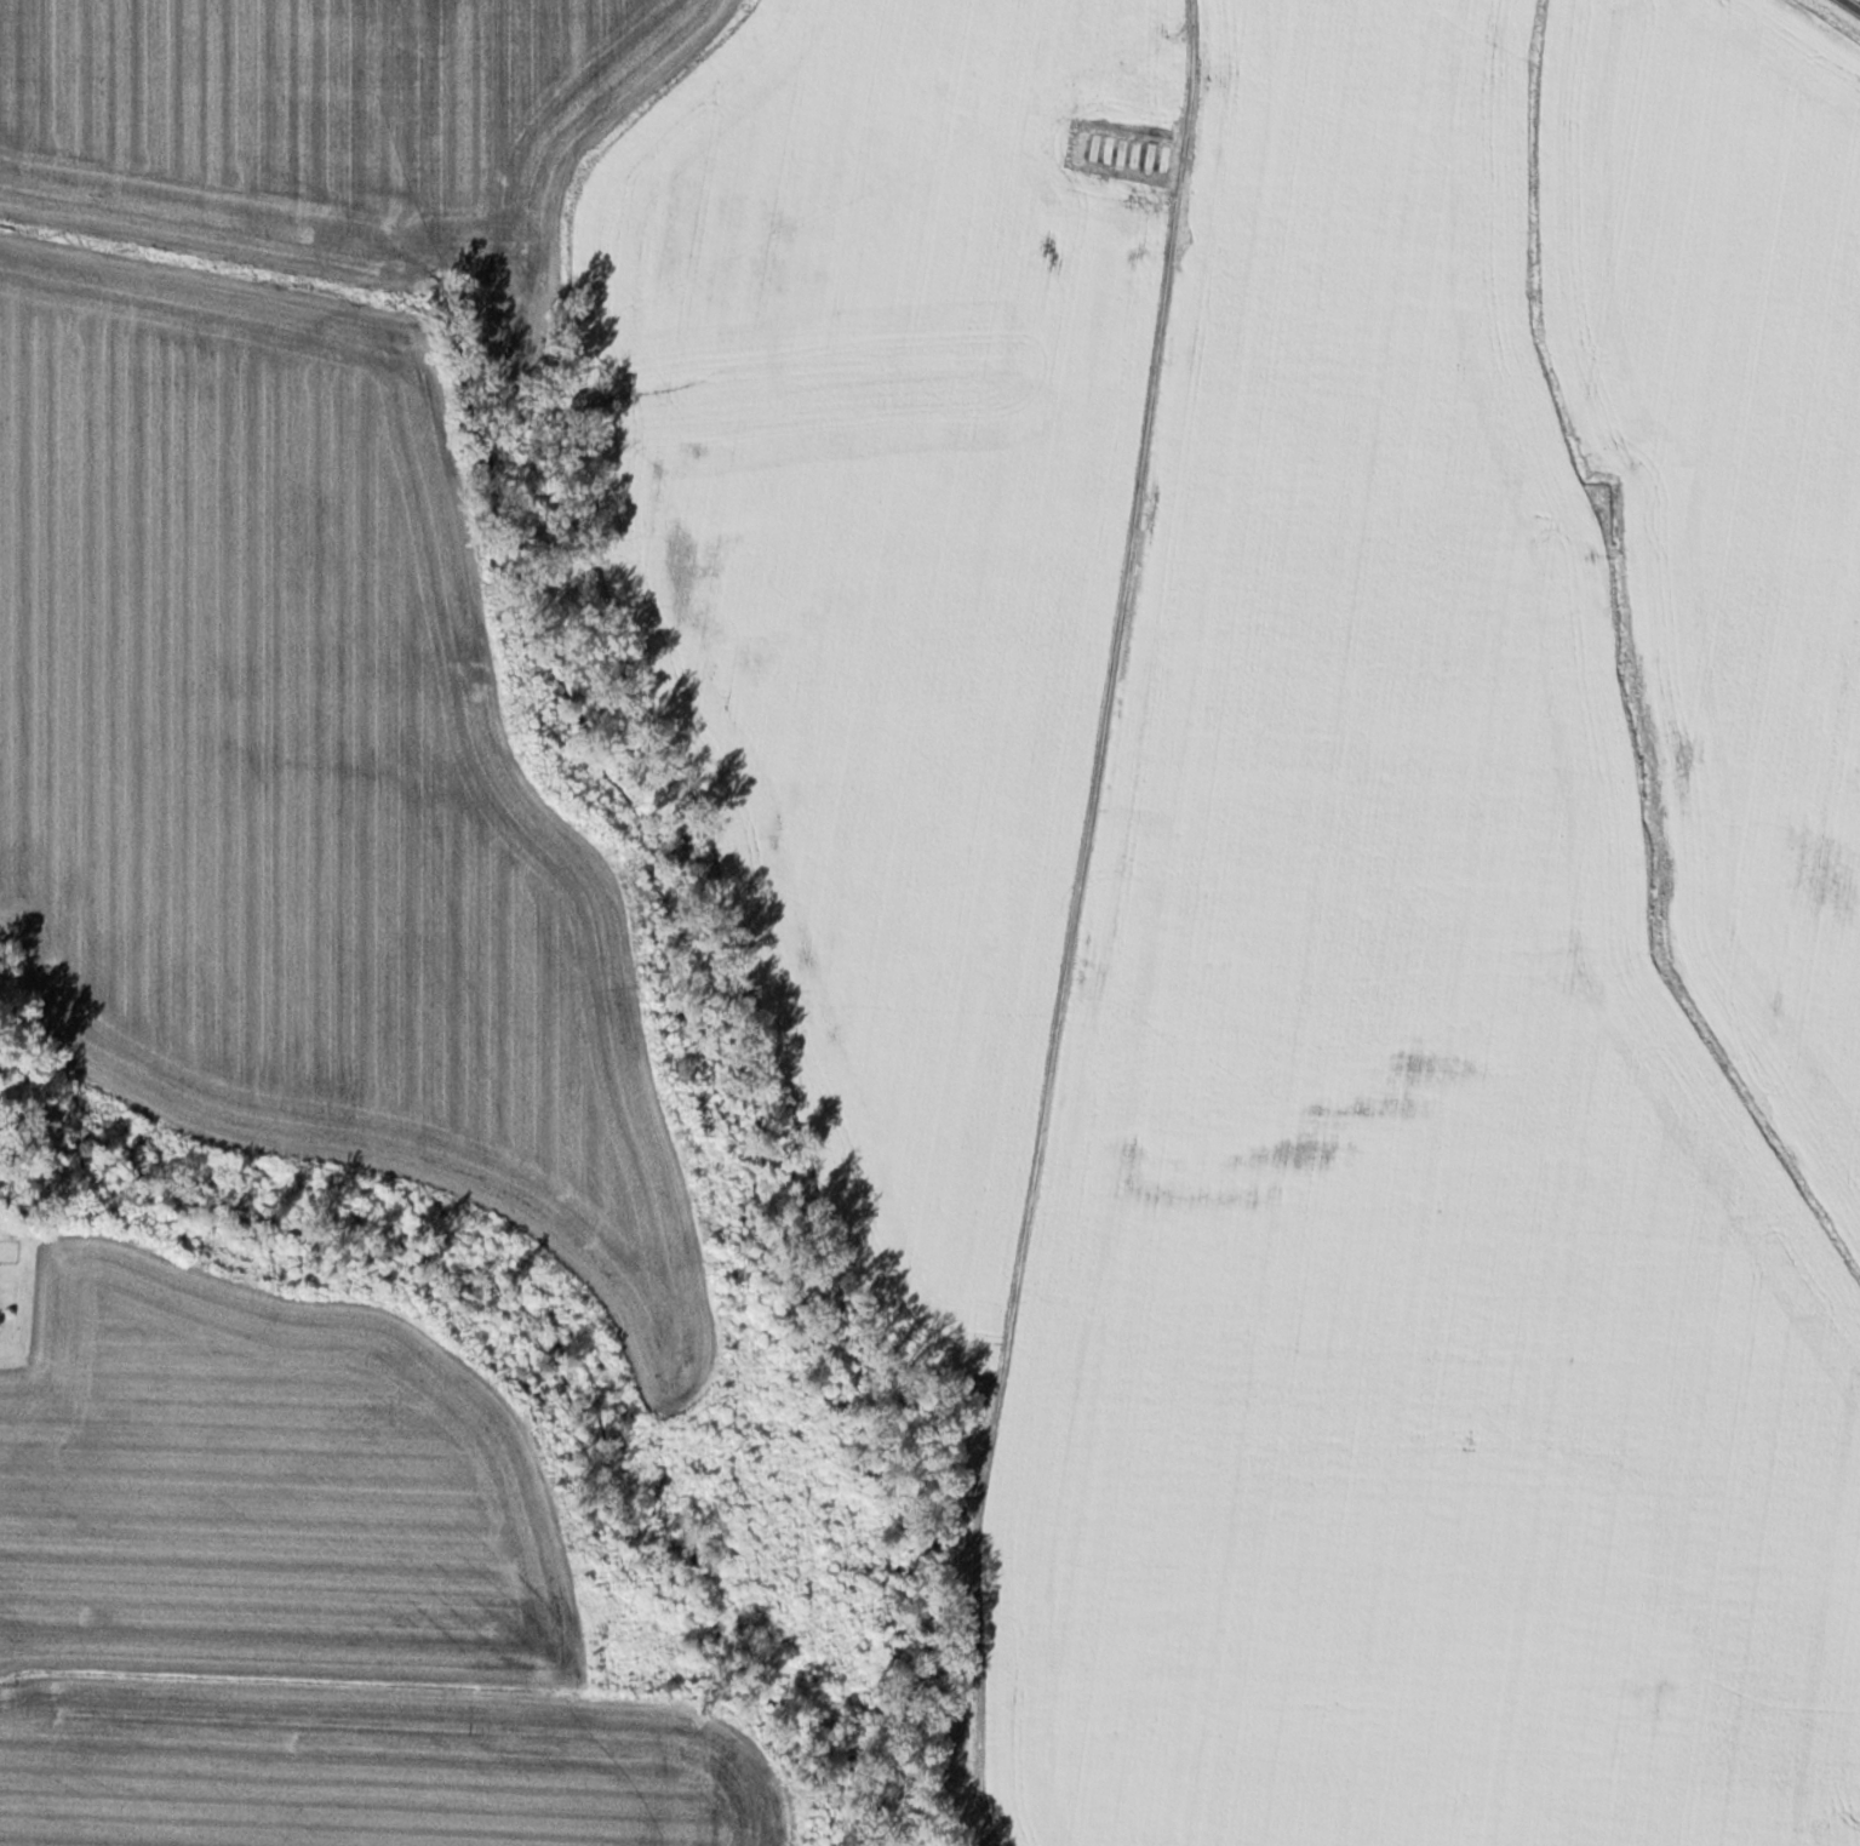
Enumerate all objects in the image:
road: (1855, 2)
building: (1140, 160)

